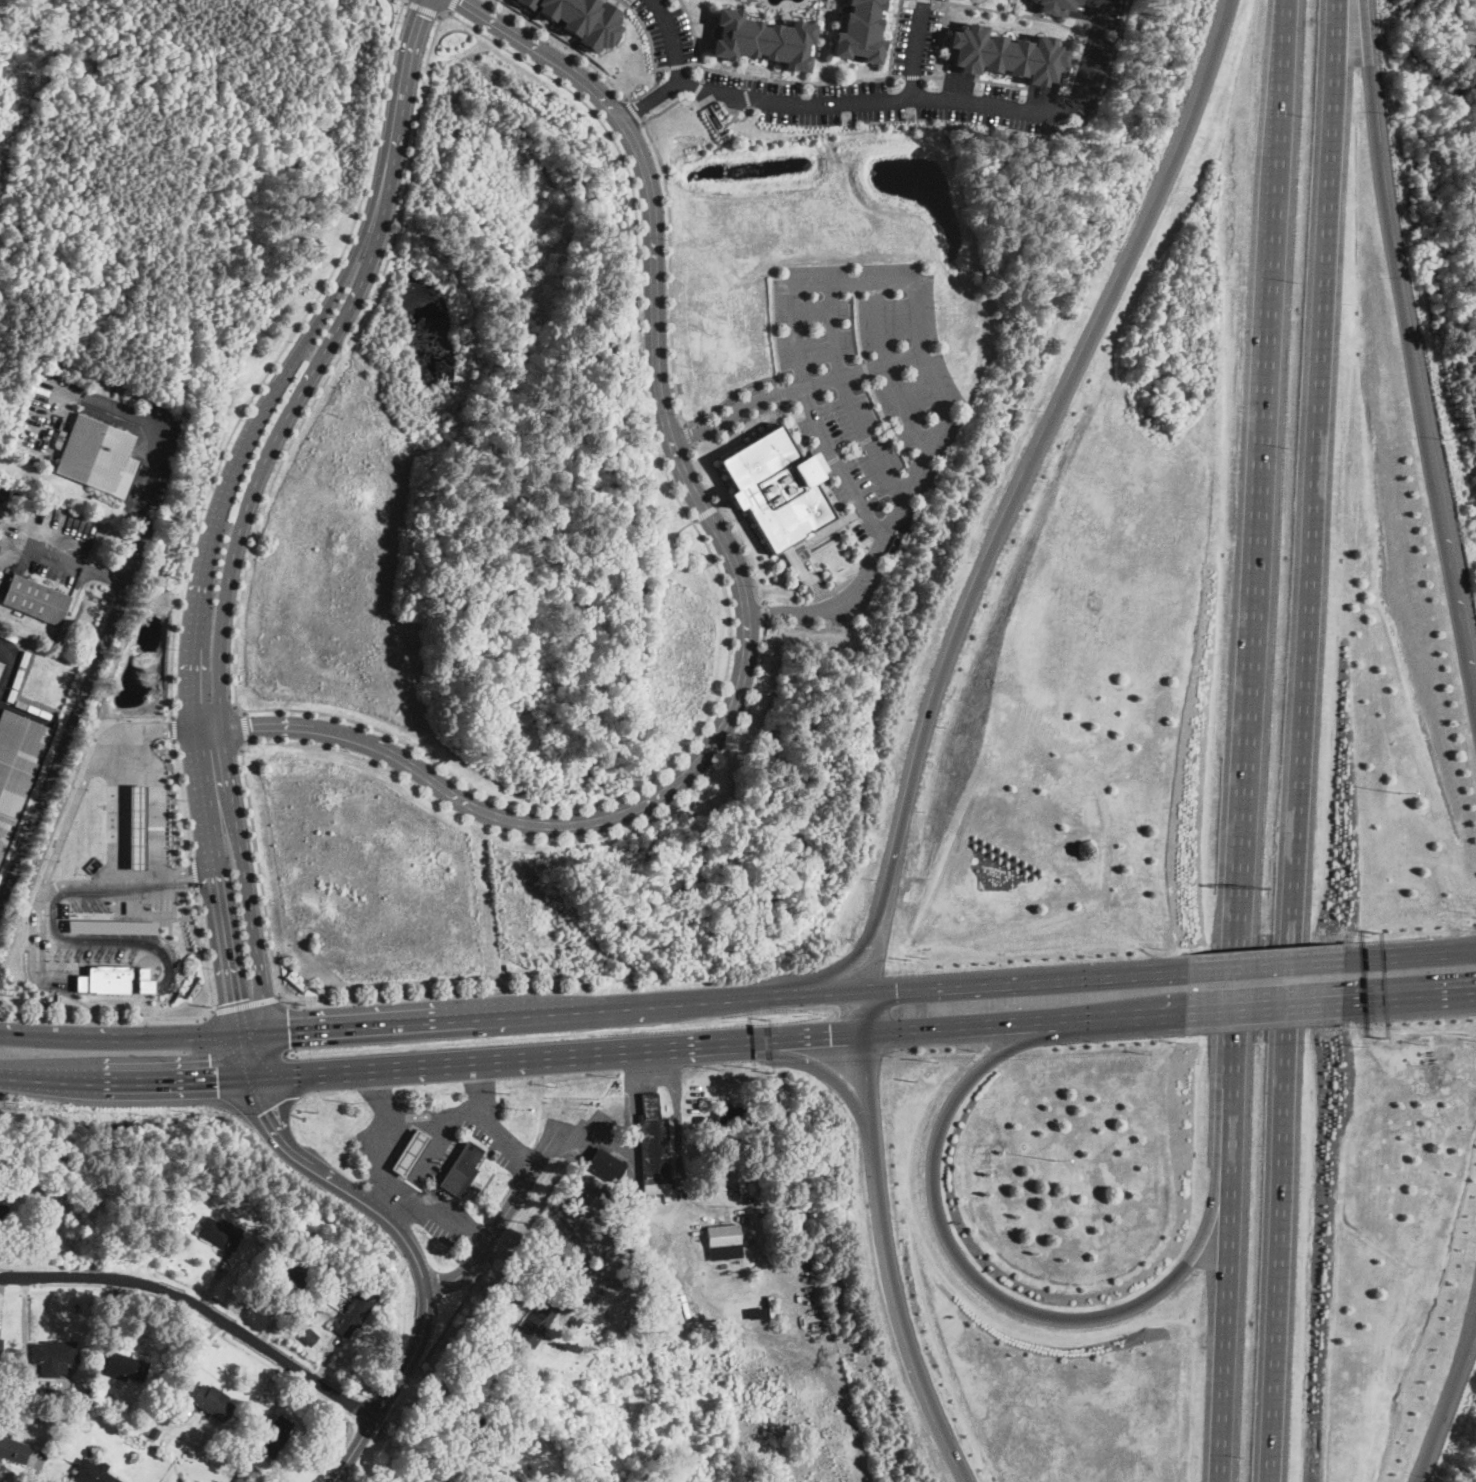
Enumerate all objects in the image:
building: (831, 3)
road: (450, 5)
building: (1054, 6)
road: (422, 7)
building: (585, 19)
building: (860, 31)
road: (672, 36)
building: (764, 38)
road: (564, 44)
road: (918, 50)
building: (1004, 53)
road: (894, 100)
road: (666, 107)
road: (634, 110)
road: (635, 219)
road: (670, 270)
road: (773, 330)
road: (277, 357)
road: (887, 368)
road: (863, 369)
road: (1407, 370)
road: (782, 392)
road: (729, 393)
road: (845, 396)
road: (735, 409)
road: (688, 433)
road: (153, 437)
building: (98, 456)
road: (914, 477)
road: (821, 478)
building: (778, 491)
road: (706, 511)
road: (731, 521)
road: (1005, 521)
road: (240, 540)
road: (211, 543)
road: (84, 569)
building: (36, 600)
road: (835, 604)
road: (745, 606)
road: (764, 612)
building: (1, 665)
road: (10, 666)
building: (21, 668)
building: (11, 695)
building: (21, 704)
building: (33, 709)
building: (45, 713)
road: (173, 727)
road: (247, 727)
road: (149, 728)
road: (62, 740)
road: (1304, 740)
road: (1251, 741)
road: (299, 742)
building: (17, 766)
road: (181, 798)
road: (157, 804)
road: (72, 807)
road: (116, 811)
road: (193, 867)
road: (182, 870)
road: (204, 873)
road: (196, 882)
road: (184, 884)
road: (99, 886)
building: (112, 926)
road: (1411, 956)
road: (1267, 966)
building: (115, 979)
road: (1046, 980)
traffic signals: (892, 995)
road: (1409, 997)
traffic signals: (230, 1000)
road: (80, 1001)
road: (245, 1003)
road: (1263, 1006)
road: (1151, 1013)
road: (168, 1016)
road: (452, 1021)
traffic signals: (829, 1032)
traffic signals: (290, 1033)
road: (558, 1053)
road: (817, 1065)
traffic signals: (217, 1082)
traffic signals: (268, 1111)
building: (730, 1115)
building: (698, 1118)
road: (435, 1120)
road: (505, 1136)
road: (678, 1137)
road: (547, 1147)
building: (653, 1147)
building: (410, 1153)
building: (605, 1164)
building: (461, 1171)
road: (419, 1173)
building: (7, 1186)
road: (404, 1189)
building: (285, 1201)
building: (3, 1215)
building: (220, 1233)
road: (883, 1234)
building: (724, 1242)
building: (349, 1262)
road: (964, 1263)
building: (291, 1273)
road: (421, 1274)
road: (198, 1306)
building: (357, 1309)
building: (311, 1314)
building: (756, 1314)
building: (575, 1323)
building: (537, 1324)
building: (309, 1337)
building: (1, 1346)
building: (54, 1356)
building: (125, 1368)
building: (68, 1384)
road: (1449, 1397)
building: (86, 1398)
building: (48, 1399)
building: (213, 1402)
building: (163, 1416)
building: (133, 1425)
building: (151, 1430)
building: (472, 1432)
building: (274, 1436)
building: (13, 1450)
building: (92, 1472)
building: (463, 1475)
building: (507, 1478)
building: (241, 1479)

